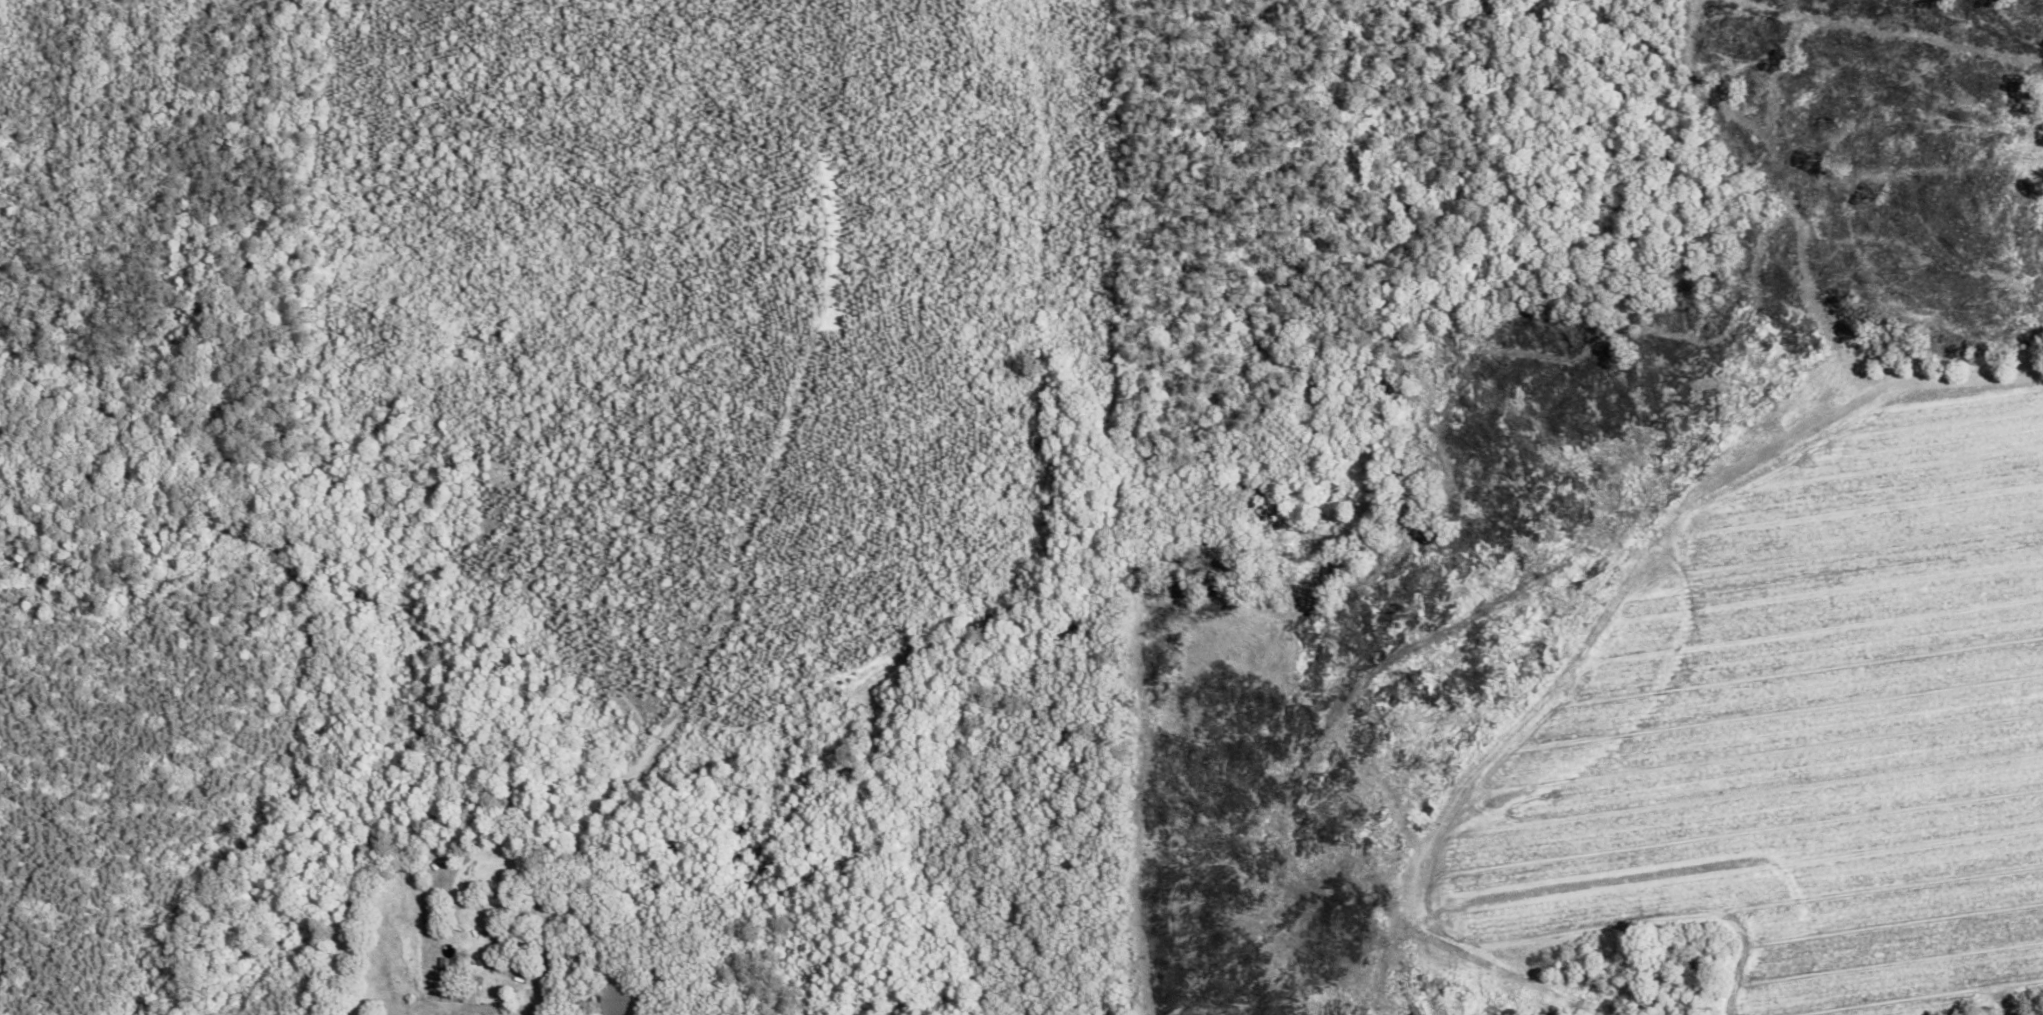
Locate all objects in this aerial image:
building: (489, 902)
road: (524, 970)
building: (618, 999)

